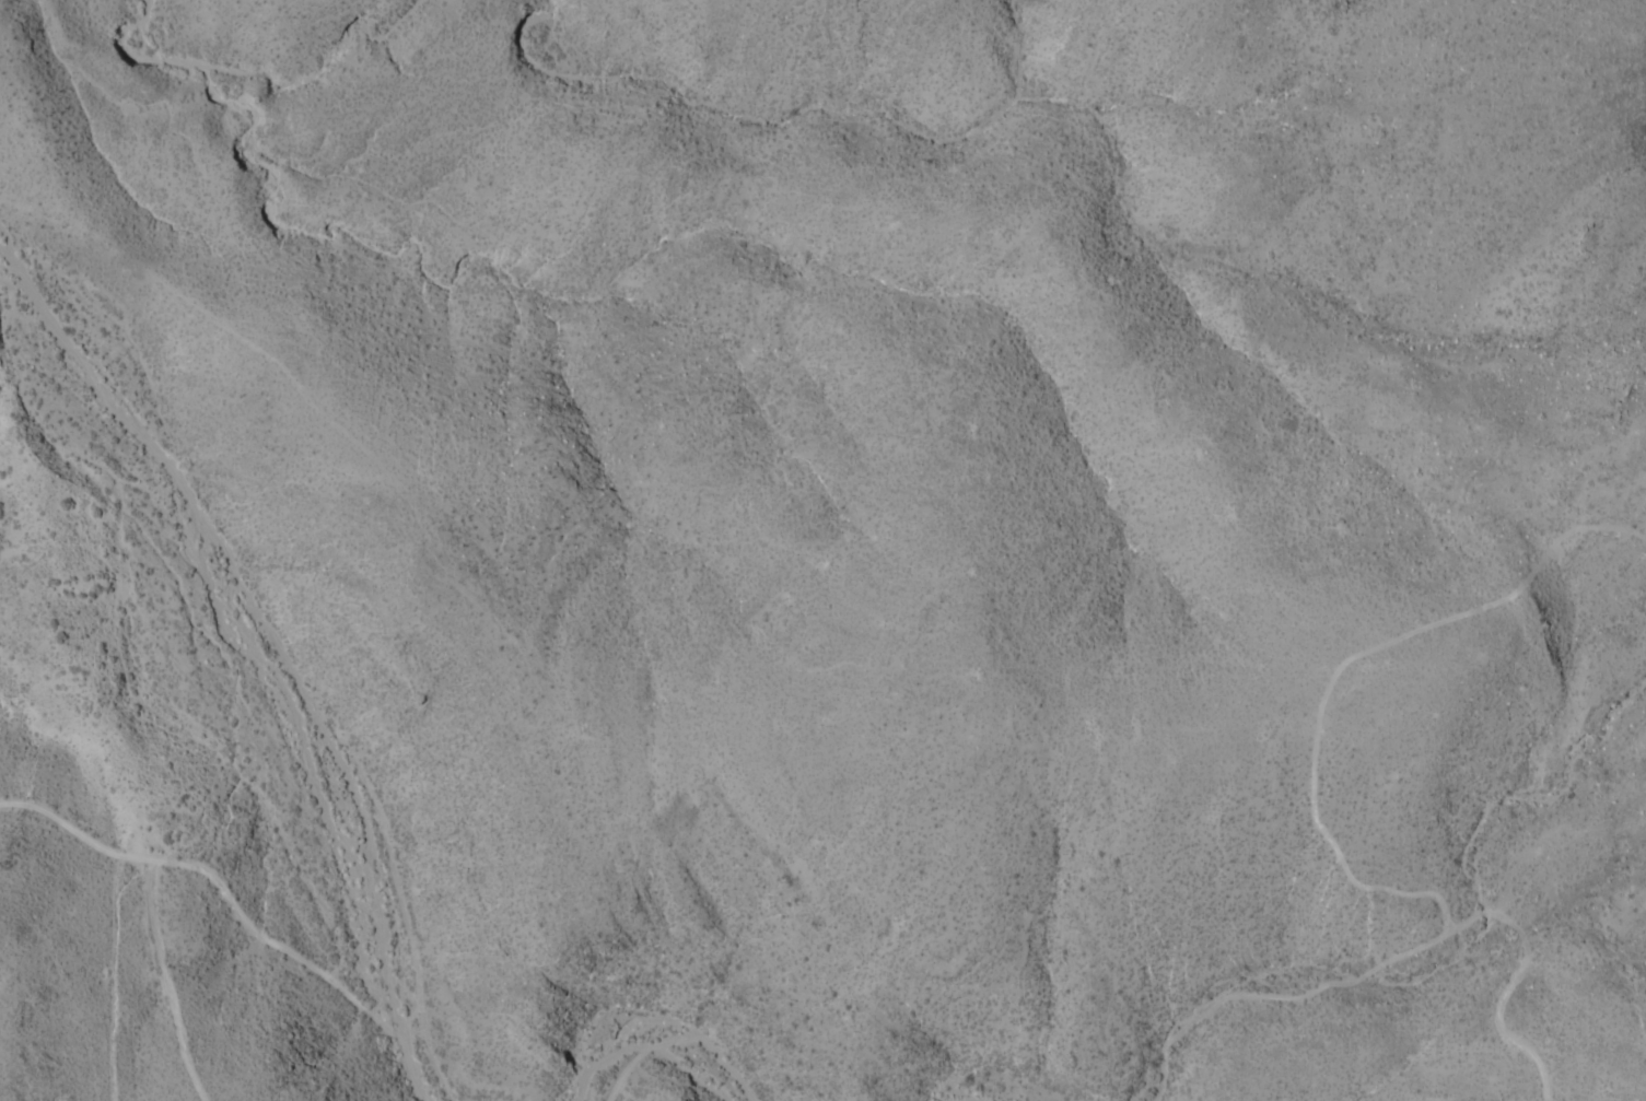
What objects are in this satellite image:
road: (257, 649)
road: (209, 874)
road: (166, 983)
road: (682, 1036)

